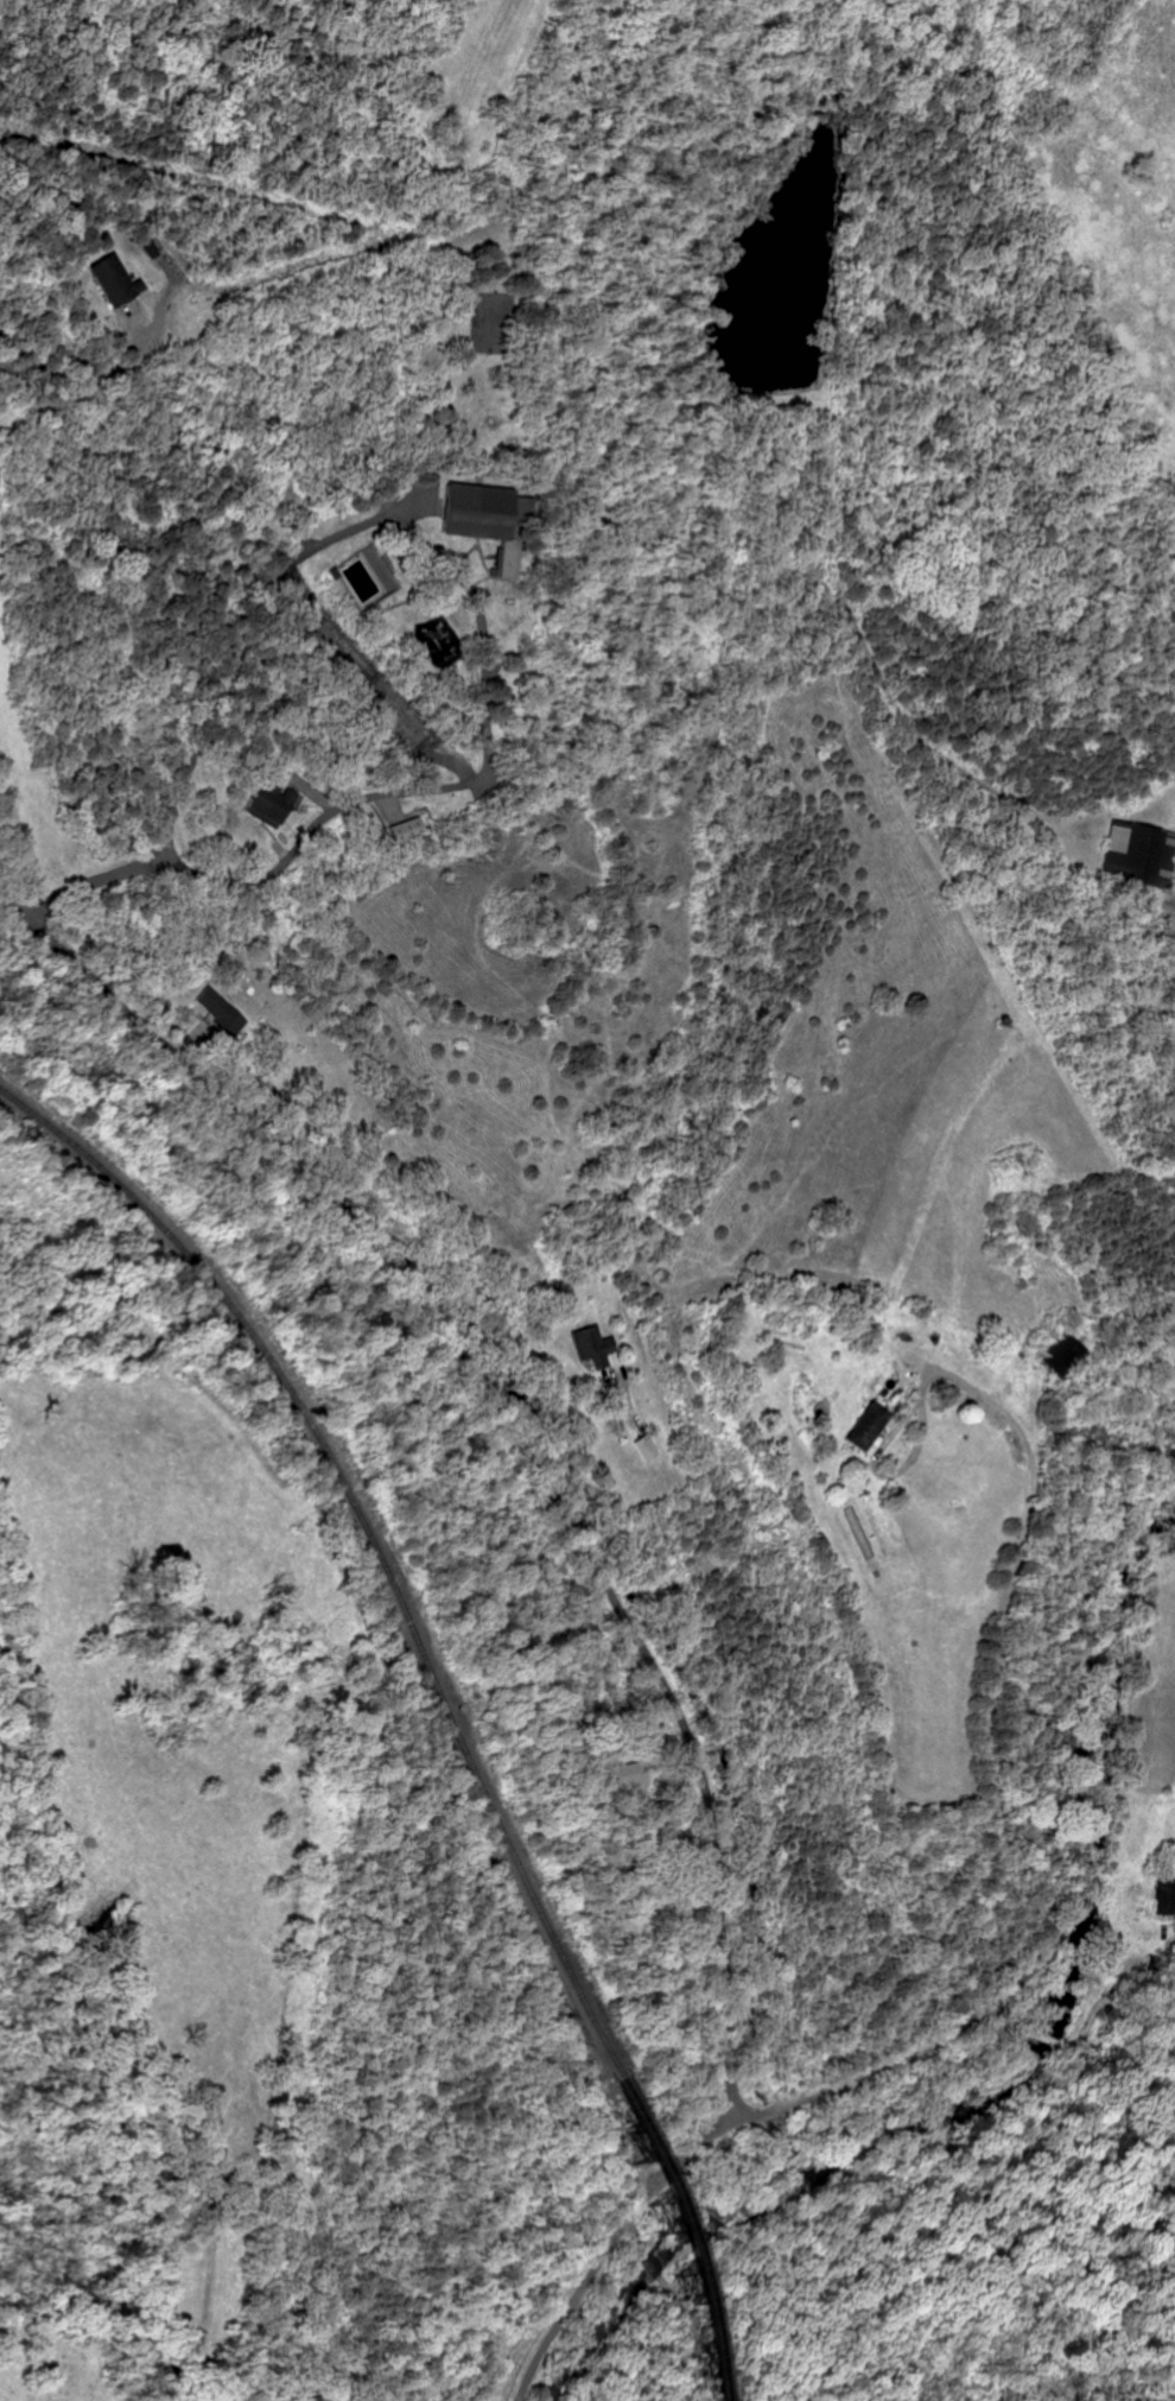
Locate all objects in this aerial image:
building: (114, 280)
road: (95, 378)
building: (478, 519)
road: (210, 712)
road: (452, 786)
building: (269, 803)
building: (407, 830)
building: (1131, 856)
building: (221, 1013)
building: (593, 1347)
building: (1055, 1356)
road: (552, 1364)
building: (866, 1427)
road: (514, 1432)
building: (647, 1449)
railway: (367, 1533)
road: (965, 1749)
road: (968, 2025)
railway: (647, 2237)

